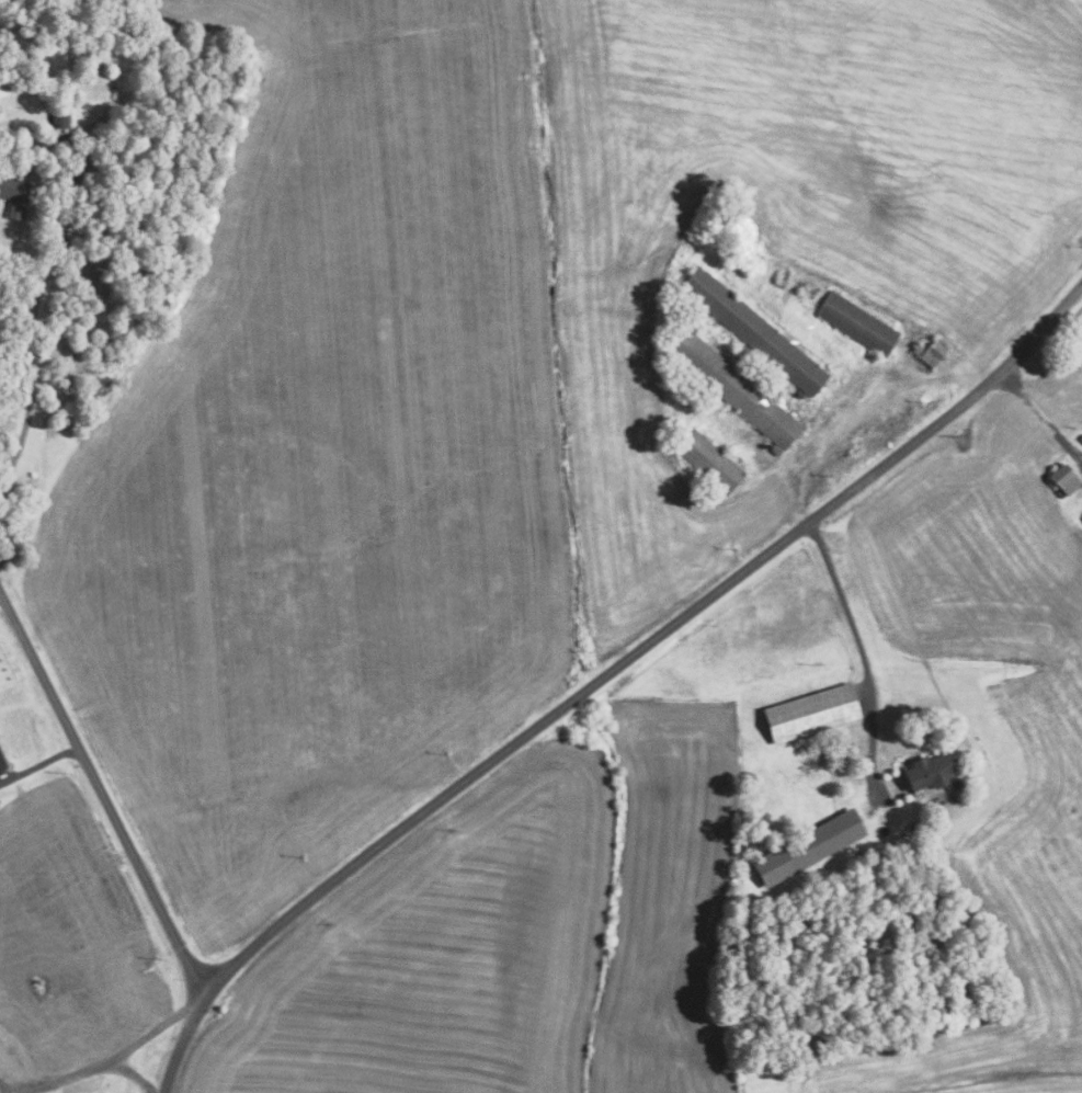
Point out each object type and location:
building: (58, 119)
building: (84, 170)
building: (14, 195)
crop: (787, 214)
building: (855, 325)
building: (752, 330)
road: (32, 335)
building: (931, 352)
building: (733, 388)
road: (865, 412)
road: (1039, 414)
building: (1081, 440)
crop: (324, 463)
building: (710, 463)
building: (1064, 479)
building: (1080, 517)
road: (861, 647)
road: (604, 674)
building: (810, 714)
crop: (1051, 754)
building: (833, 755)
building: (2, 762)
road: (41, 763)
building: (930, 771)
road: (103, 793)
building: (808, 847)
crop: (669, 898)
crop: (70, 932)
crop: (440, 954)
road: (155, 1027)
road: (93, 1070)

